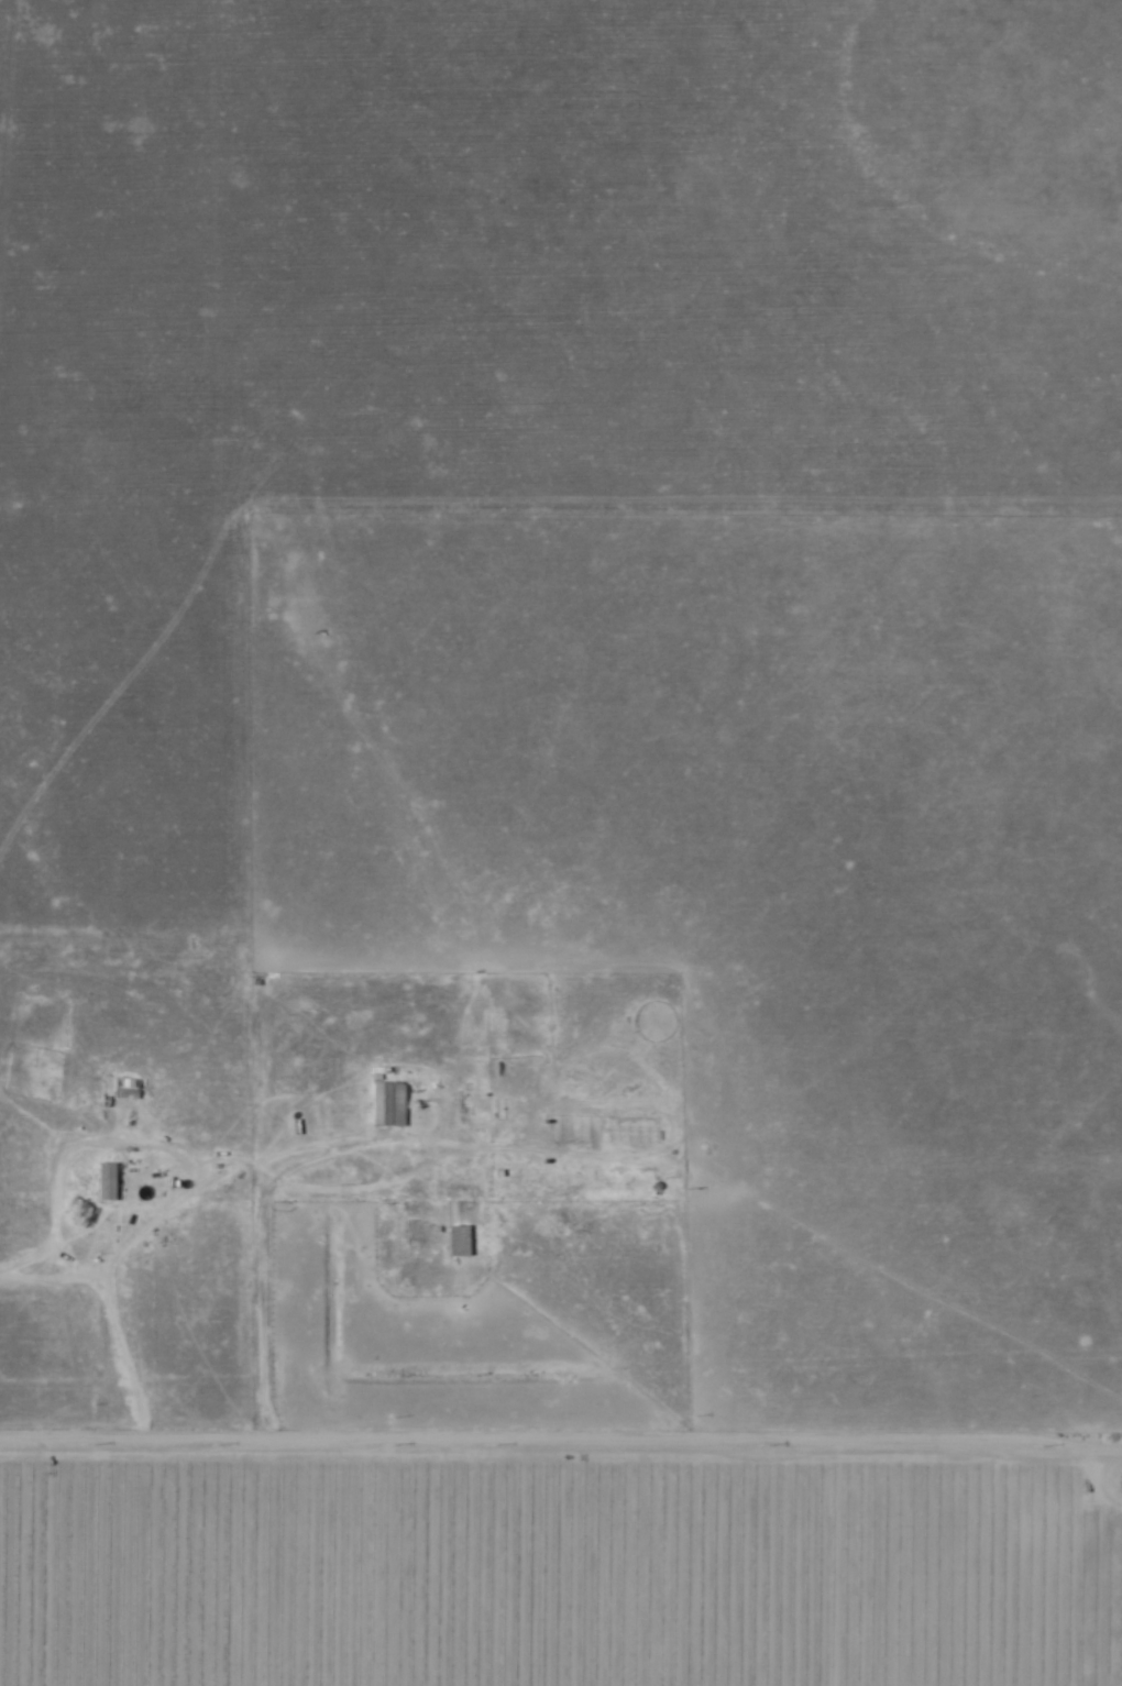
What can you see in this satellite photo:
building: (385, 1103)
building: (103, 1181)
building: (457, 1241)
crop: (564, 1562)

